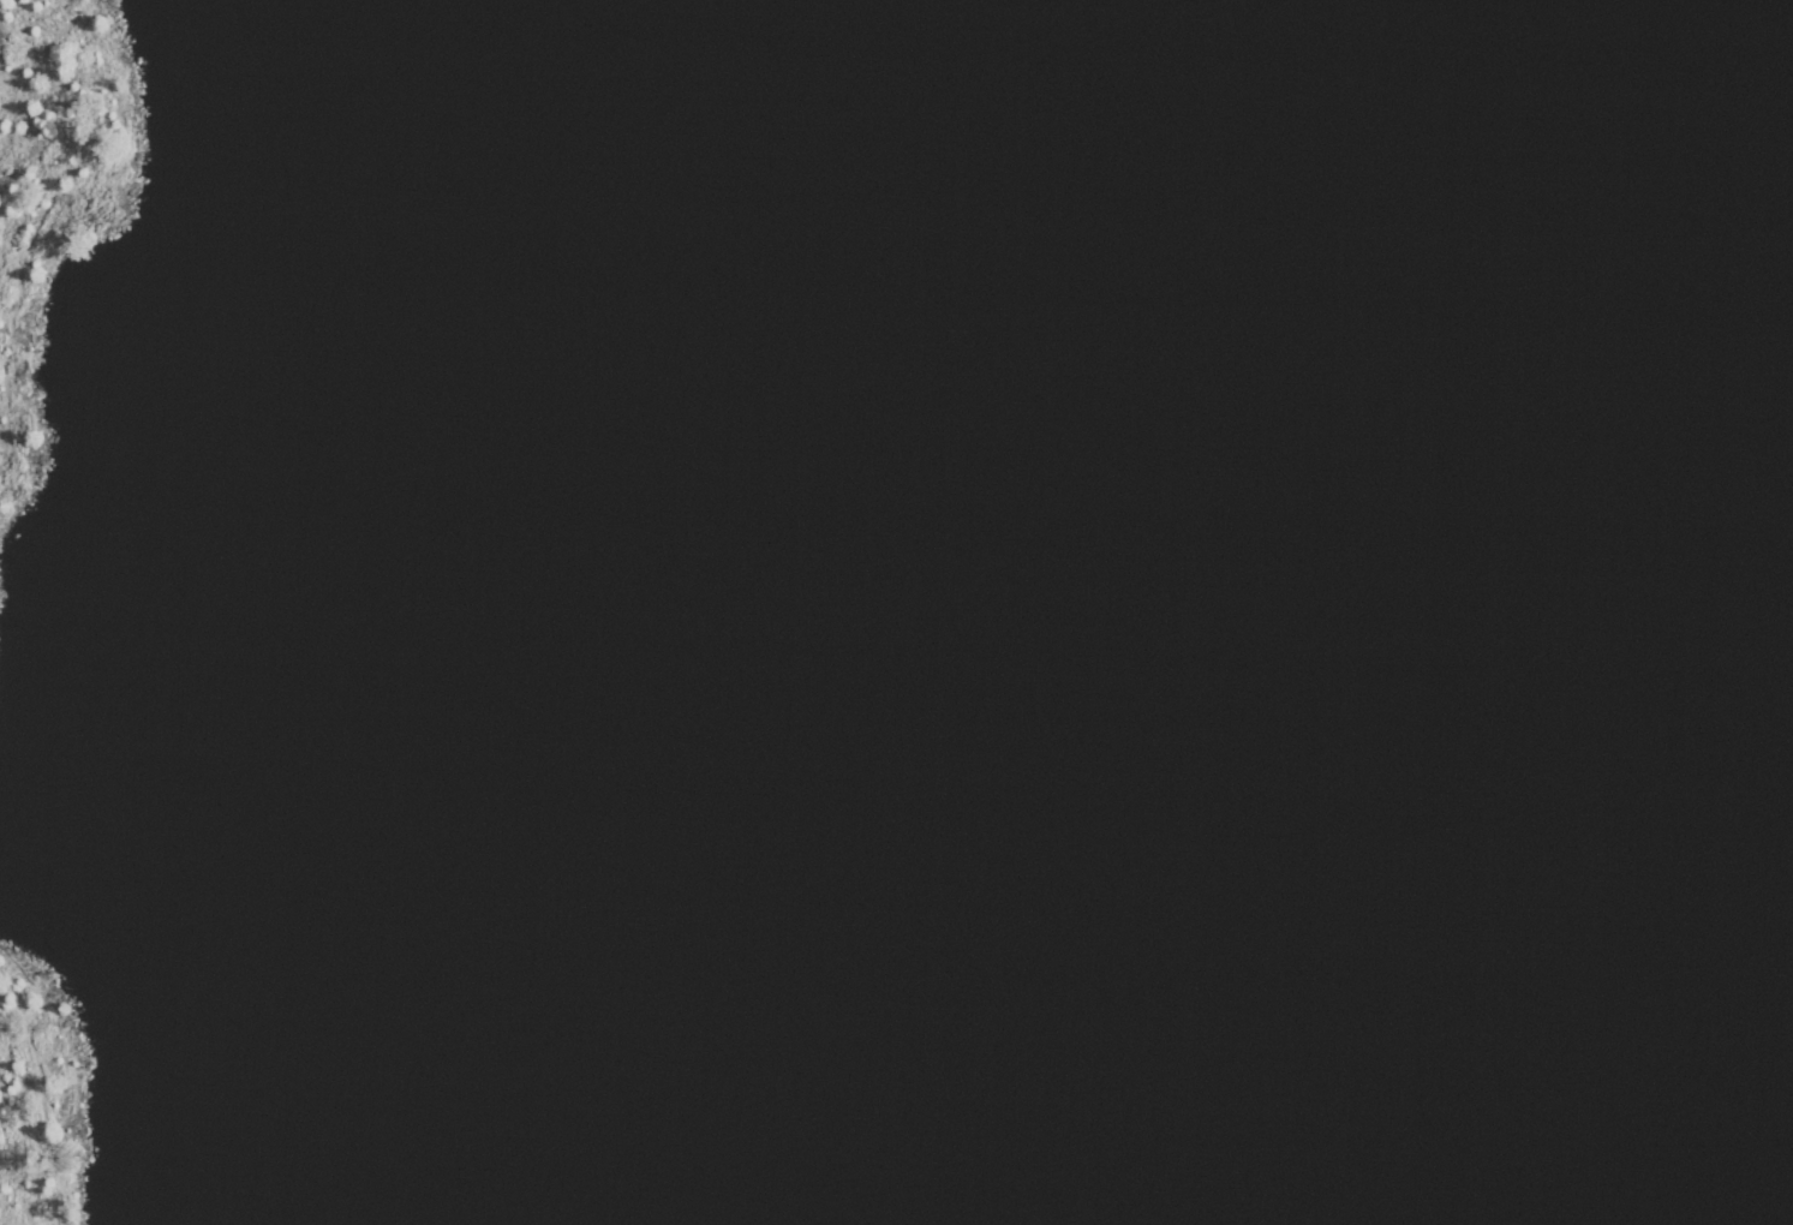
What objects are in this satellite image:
road: (25, 246)
road: (34, 1109)

